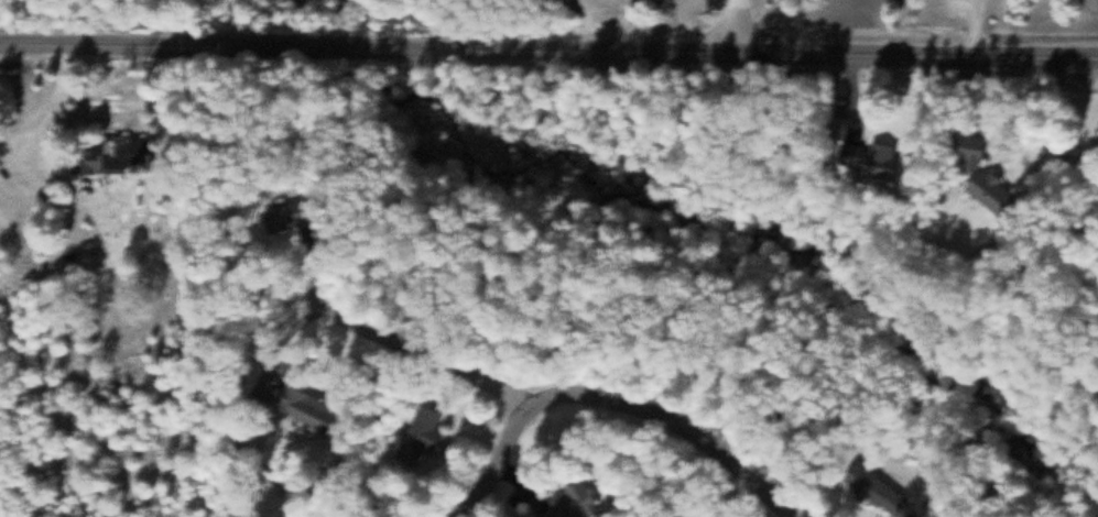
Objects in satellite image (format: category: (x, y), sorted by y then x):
road: (743, 25)
road: (172, 45)
road: (545, 48)
road: (922, 54)
building: (120, 155)
building: (884, 163)
building: (298, 220)
road: (424, 354)
road: (615, 400)
building: (313, 407)
building: (428, 436)
building: (578, 501)

